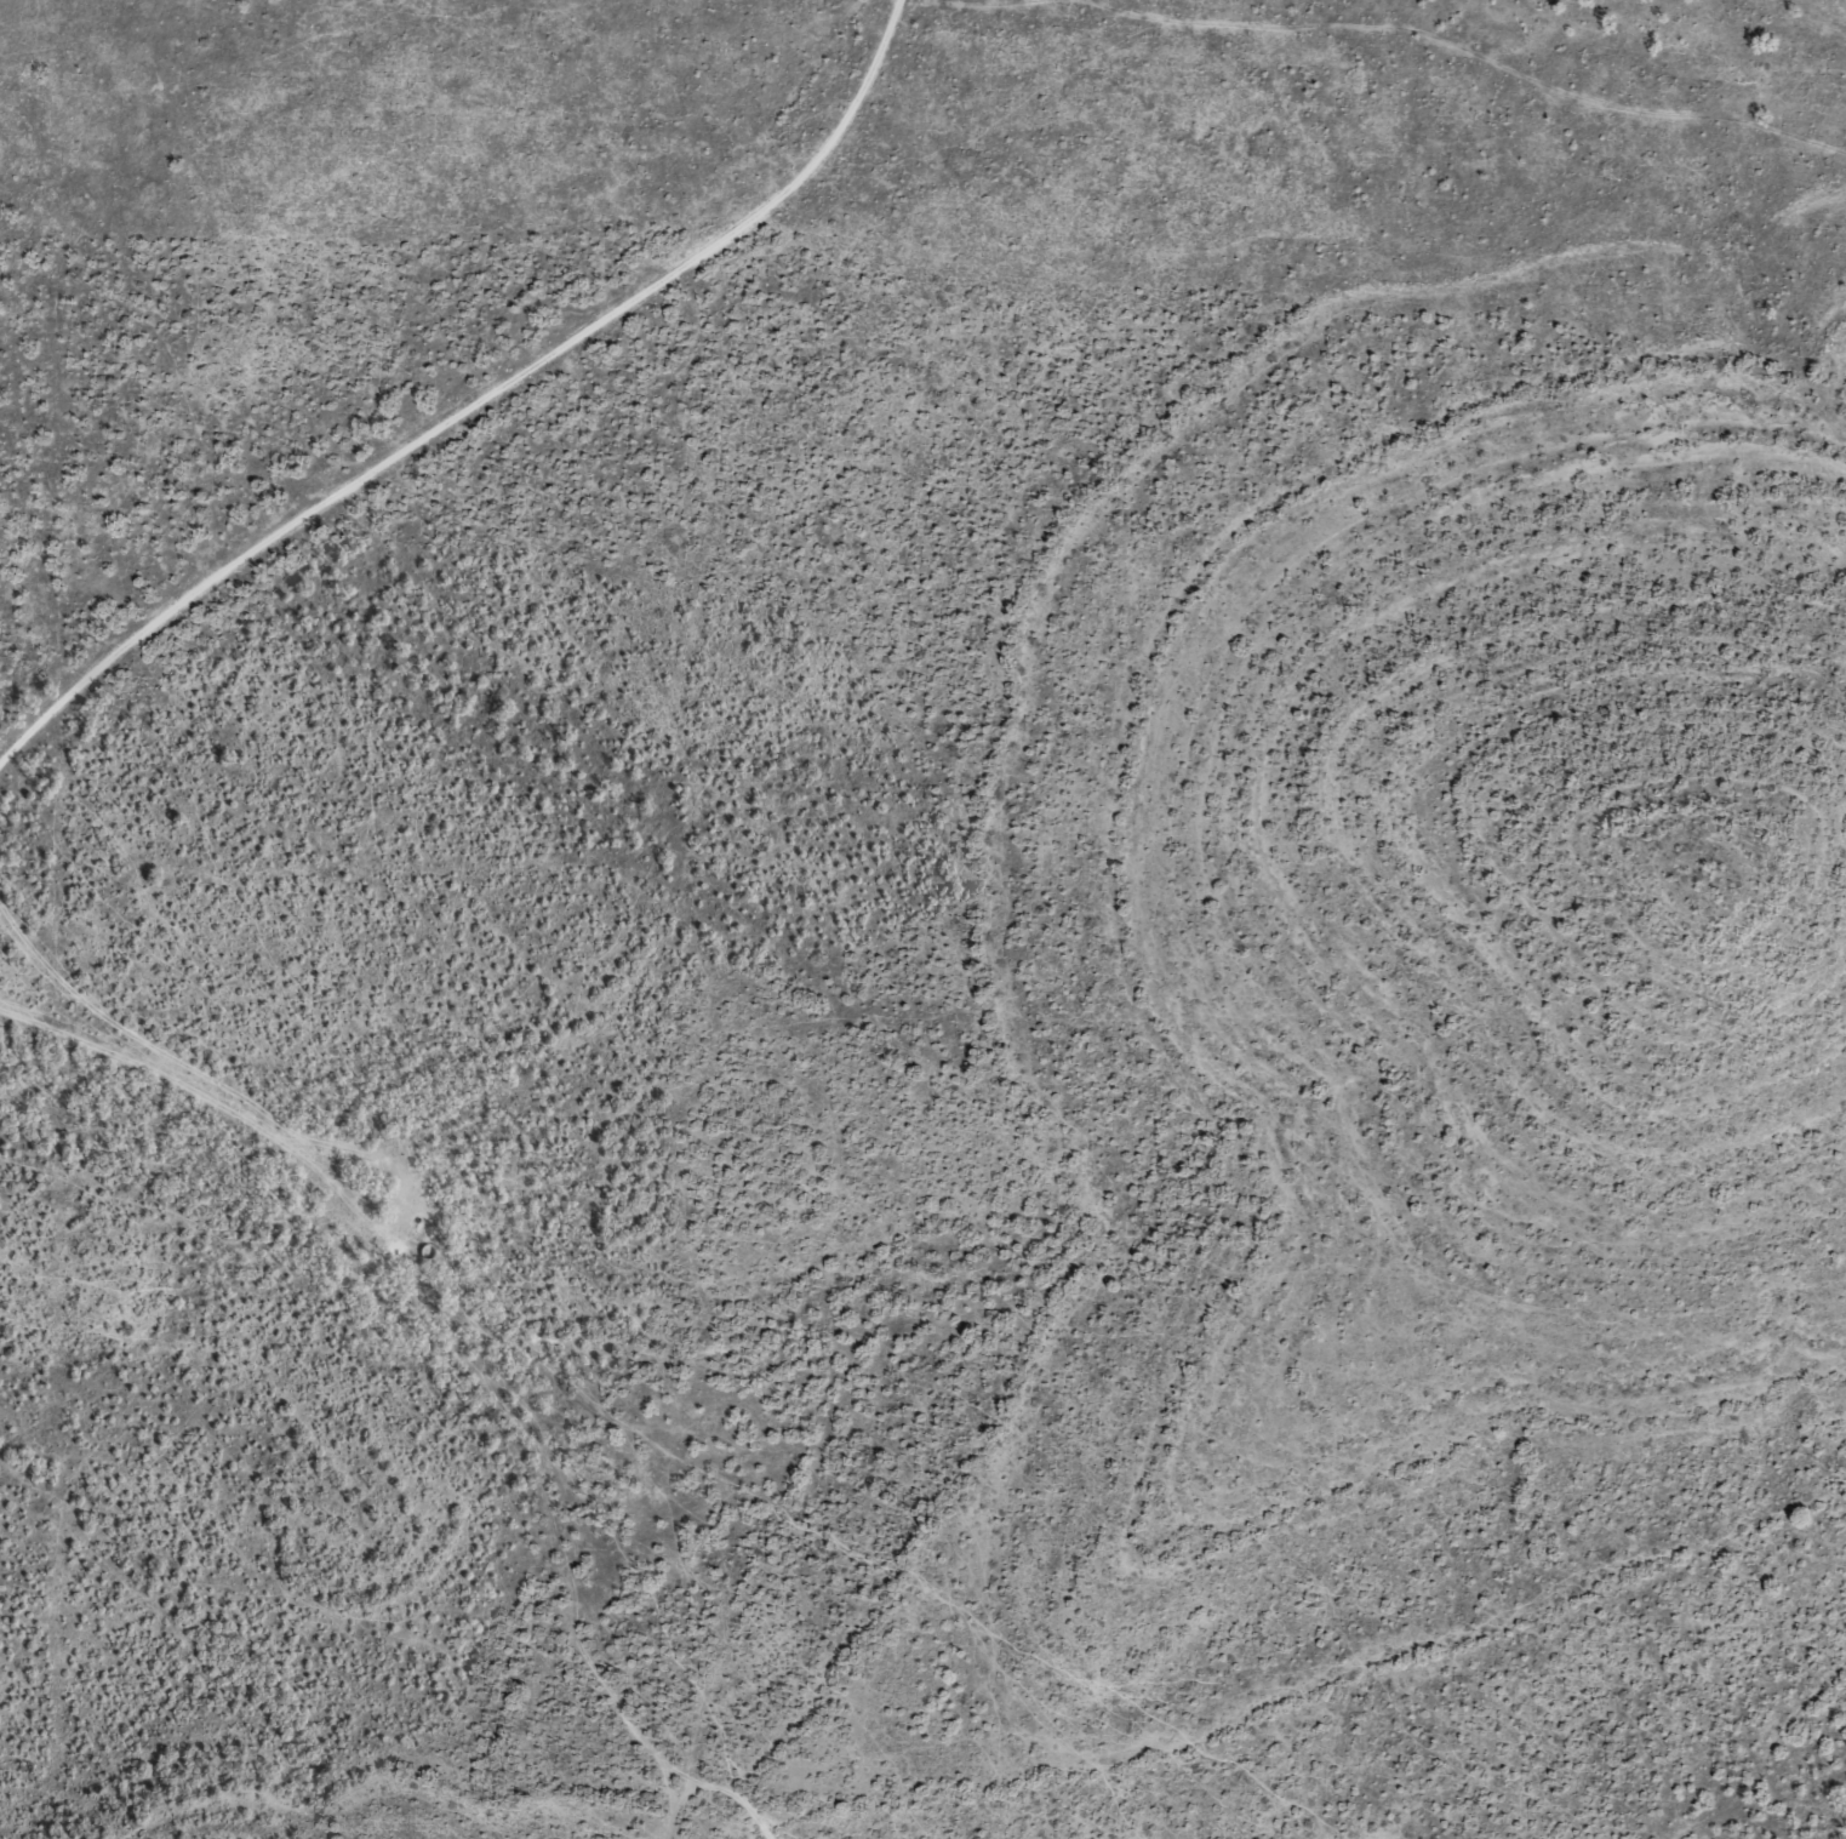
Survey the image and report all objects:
road: (478, 416)
road: (155, 1029)

